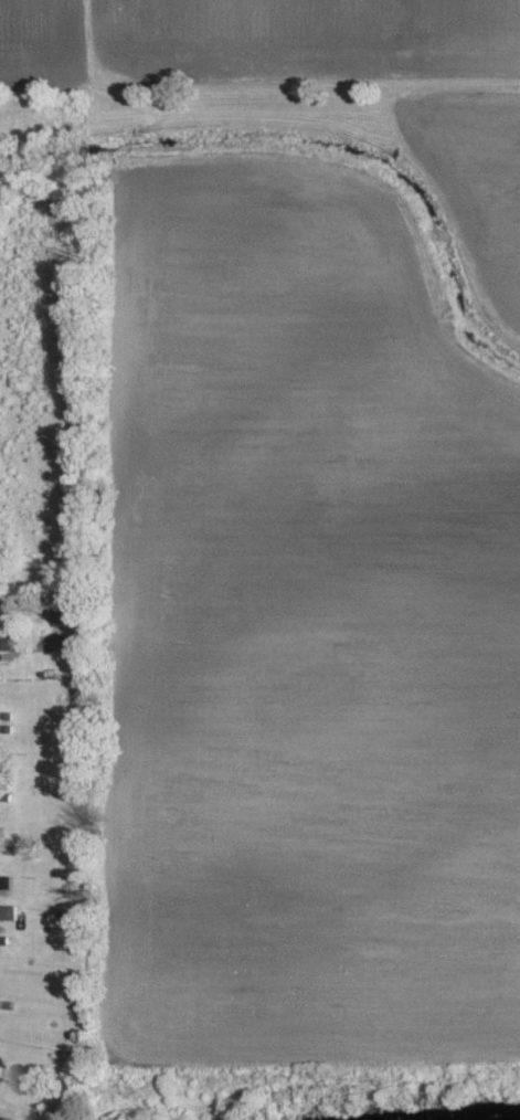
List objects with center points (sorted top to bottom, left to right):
building: (7, 883)
building: (9, 912)

